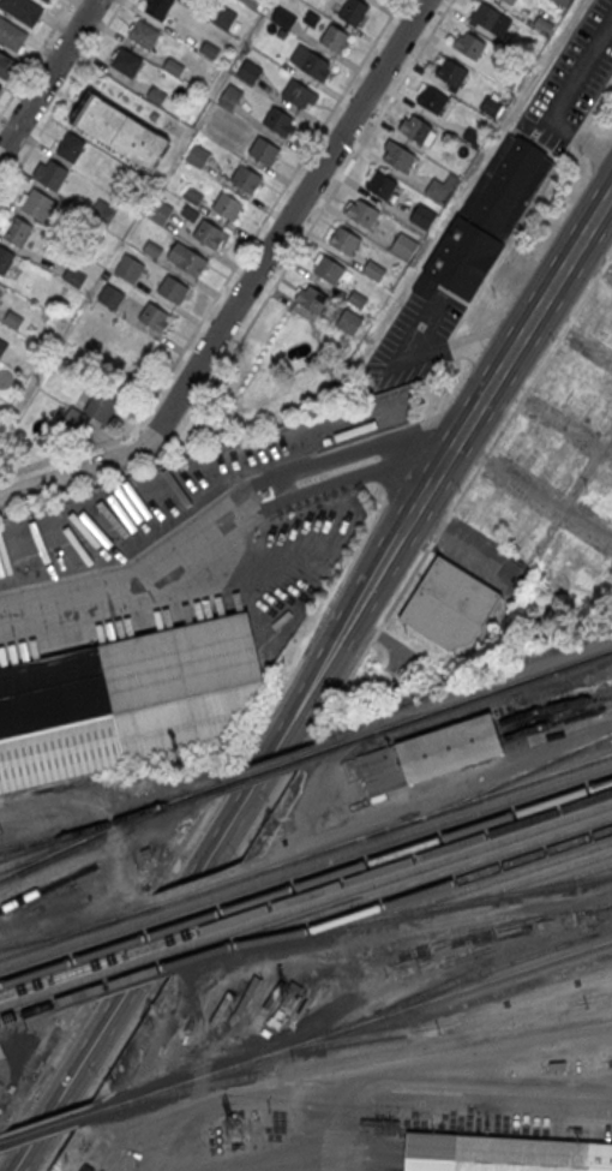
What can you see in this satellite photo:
building: (46, 1)
building: (510, 1)
building: (253, 2)
building: (563, 2)
building: (158, 7)
building: (23, 10)
building: (353, 11)
building: (224, 16)
building: (283, 17)
building: (488, 19)
building: (542, 23)
building: (144, 32)
building: (12, 34)
building: (334, 37)
building: (469, 43)
building: (209, 49)
road: (36, 58)
building: (126, 61)
building: (6, 64)
building: (316, 65)
building: (173, 66)
building: (250, 71)
building: (450, 71)
road: (47, 76)
building: (506, 76)
parking lot: (570, 84)
building: (1, 86)
building: (299, 94)
building: (156, 95)
building: (230, 96)
building: (430, 96)
road: (60, 97)
road: (596, 98)
building: (490, 106)
building: (154, 115)
building: (280, 121)
building: (413, 126)
building: (119, 131)
road: (576, 133)
building: (474, 136)
building: (71, 147)
building: (264, 150)
building: (198, 155)
building: (397, 155)
building: (52, 173)
road: (475, 175)
building: (246, 178)
building: (379, 184)
building: (442, 186)
building: (192, 195)
building: (38, 204)
building: (227, 204)
road: (322, 207)
building: (102, 211)
building: (160, 211)
building: (361, 211)
building: (420, 216)
building: (486, 220)
road: (283, 225)
building: (18, 231)
building: (210, 233)
building: (344, 239)
road: (510, 240)
building: (403, 246)
building: (152, 249)
building: (5, 258)
building: (187, 258)
road: (592, 264)
building: (130, 268)
building: (329, 269)
building: (373, 270)
road: (229, 274)
building: (74, 276)
building: (173, 288)
building: (110, 295)
building: (311, 298)
building: (155, 316)
building: (348, 321)
road: (574, 334)
parking lot: (412, 341)
building: (2, 345)
road: (454, 348)
building: (133, 356)
road: (504, 364)
building: (586, 388)
building: (104, 399)
road: (188, 416)
road: (552, 418)
building: (73, 419)
road: (161, 424)
road: (136, 430)
building: (551, 465)
road: (71, 474)
road: (533, 490)
building: (472, 497)
road: (460, 500)
road: (222, 526)
building: (524, 530)
road: (462, 540)
road: (350, 563)
building: (568, 566)
building: (448, 605)
building: (122, 698)
railway: (462, 700)
railway: (552, 705)
road: (420, 706)
railway: (556, 719)
building: (430, 752)
road: (300, 758)
railway: (263, 769)
railway: (510, 776)
road: (229, 781)
road: (422, 803)
road: (100, 812)
road: (264, 817)
railway: (420, 817)
railway: (108, 822)
railway: (416, 829)
railway: (94, 835)
road: (191, 841)
railway: (44, 843)
railway: (410, 846)
railway: (10, 847)
railway: (42, 855)
road: (205, 856)
railway: (406, 859)
railway: (401, 874)
railway: (594, 877)
railway: (556, 880)
railway: (442, 883)
railway: (480, 883)
railway: (518, 883)
railway: (46, 886)
road: (187, 886)
railway: (395, 889)
railway: (184, 896)
railway: (175, 909)
railway: (400, 913)
road: (197, 919)
railway: (162, 928)
railway: (59, 932)
railway: (67, 933)
railway: (152, 944)
railway: (64, 945)
road: (125, 945)
railway: (143, 960)
railway: (58, 963)
railway: (133, 975)
railway: (467, 975)
railway: (53, 976)
railway: (48, 991)
railway: (595, 997)
railway: (469, 1000)
railway: (511, 1000)
railway: (43, 1005)
railway: (360, 1023)
railway: (432, 1023)
railway: (403, 1048)
building: (1, 1051)
road: (44, 1071)
road: (101, 1073)
railway: (379, 1083)
railway: (54, 1124)
power tower: (236, 1130)
building: (505, 1154)
road: (282, 1160)

